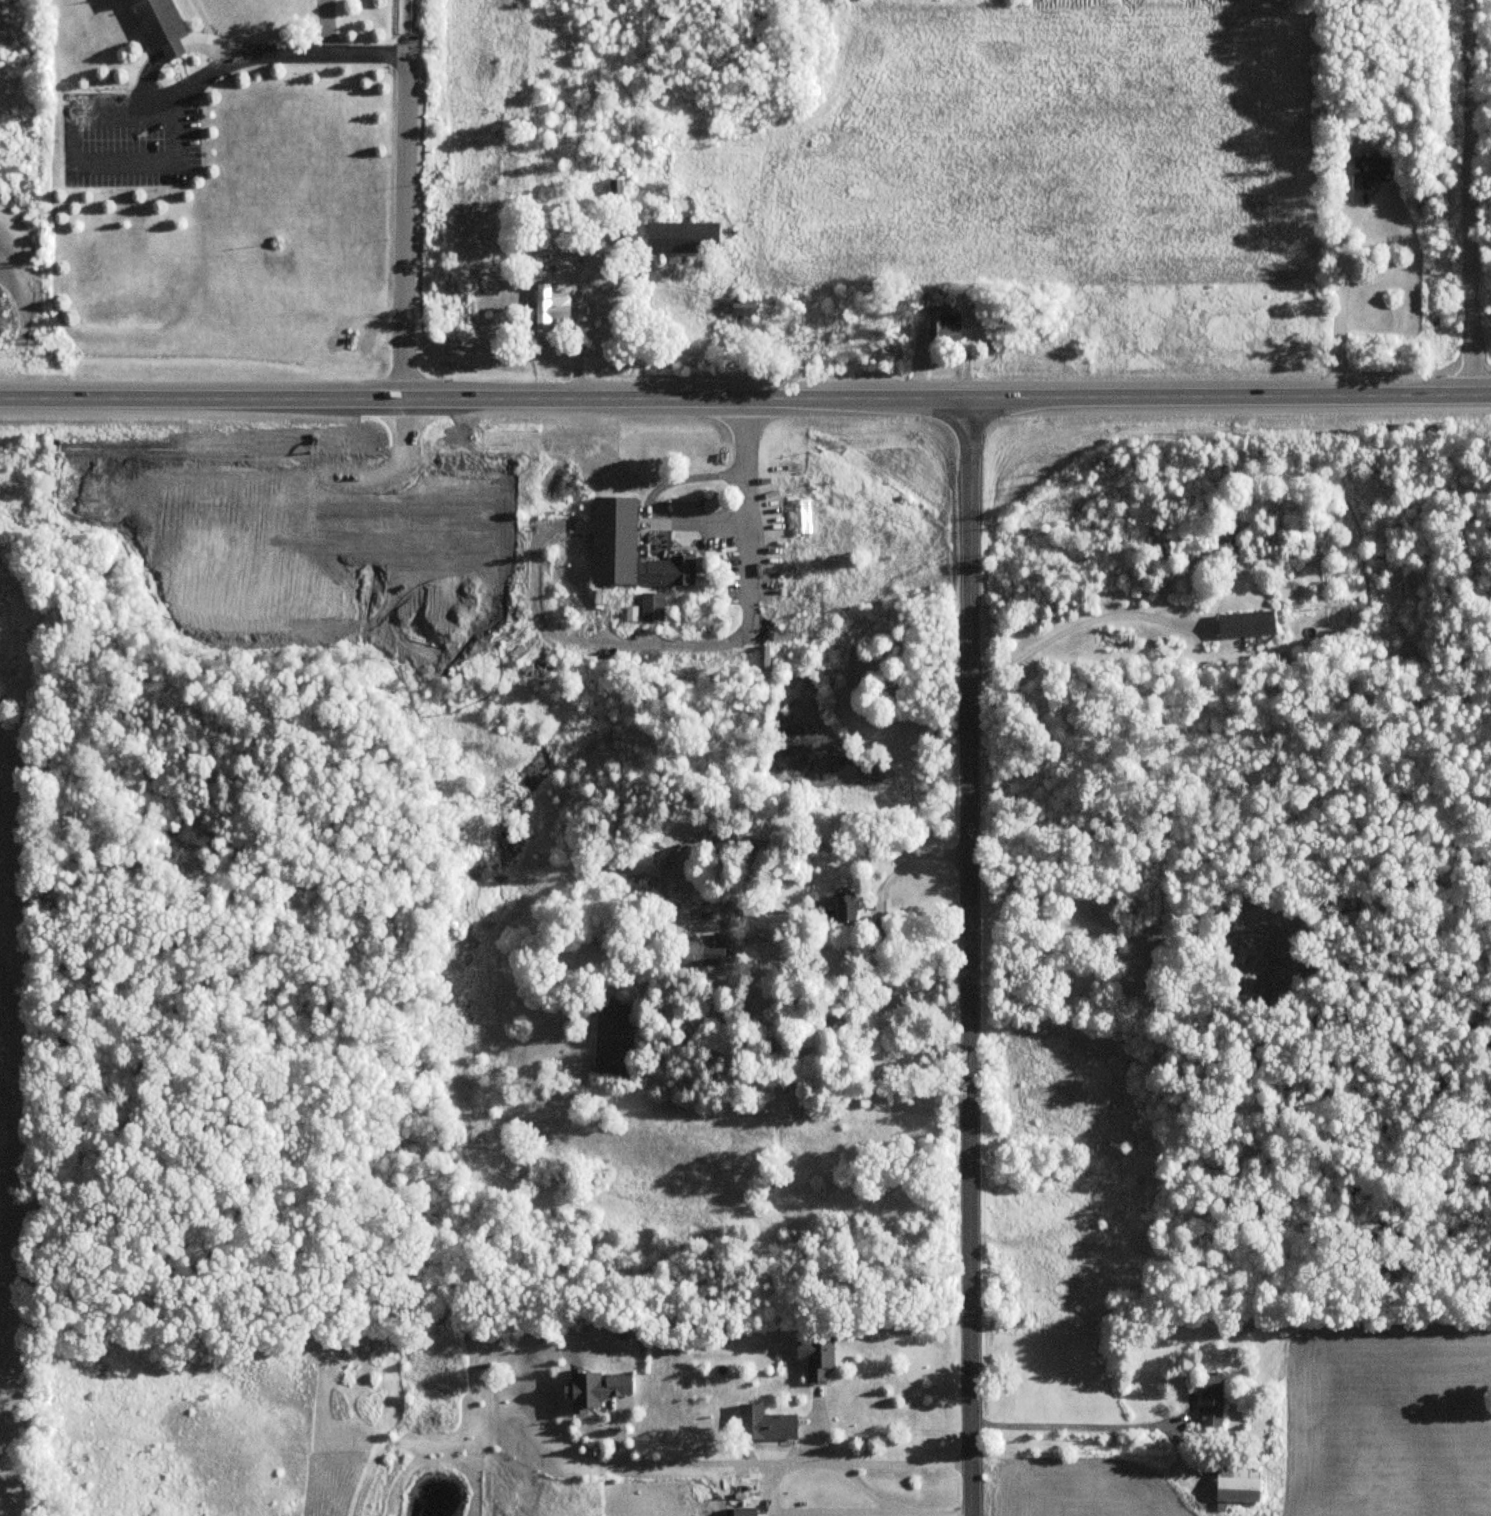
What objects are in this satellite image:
road: (406, 9)
building: (159, 20)
road: (204, 20)
road: (325, 25)
road: (173, 46)
road: (279, 51)
road: (155, 98)
parking lot: (129, 134)
road: (89, 165)
building: (1370, 170)
building: (616, 191)
road: (1471, 198)
road: (404, 225)
building: (682, 237)
building: (551, 305)
road: (1340, 307)
building: (1372, 321)
building: (945, 330)
road: (745, 398)
road: (694, 515)
building: (801, 515)
building: (629, 548)
building: (653, 612)
road: (1081, 622)
building: (1246, 624)
road: (706, 642)
road: (875, 901)
building: (842, 909)
building: (695, 952)
road: (970, 957)
building: (816, 1358)
building: (596, 1389)
building: (1211, 1400)
building: (764, 1425)
road: (1079, 1426)
road: (792, 1464)
building: (1237, 1485)
road: (886, 1504)
building: (743, 1508)

